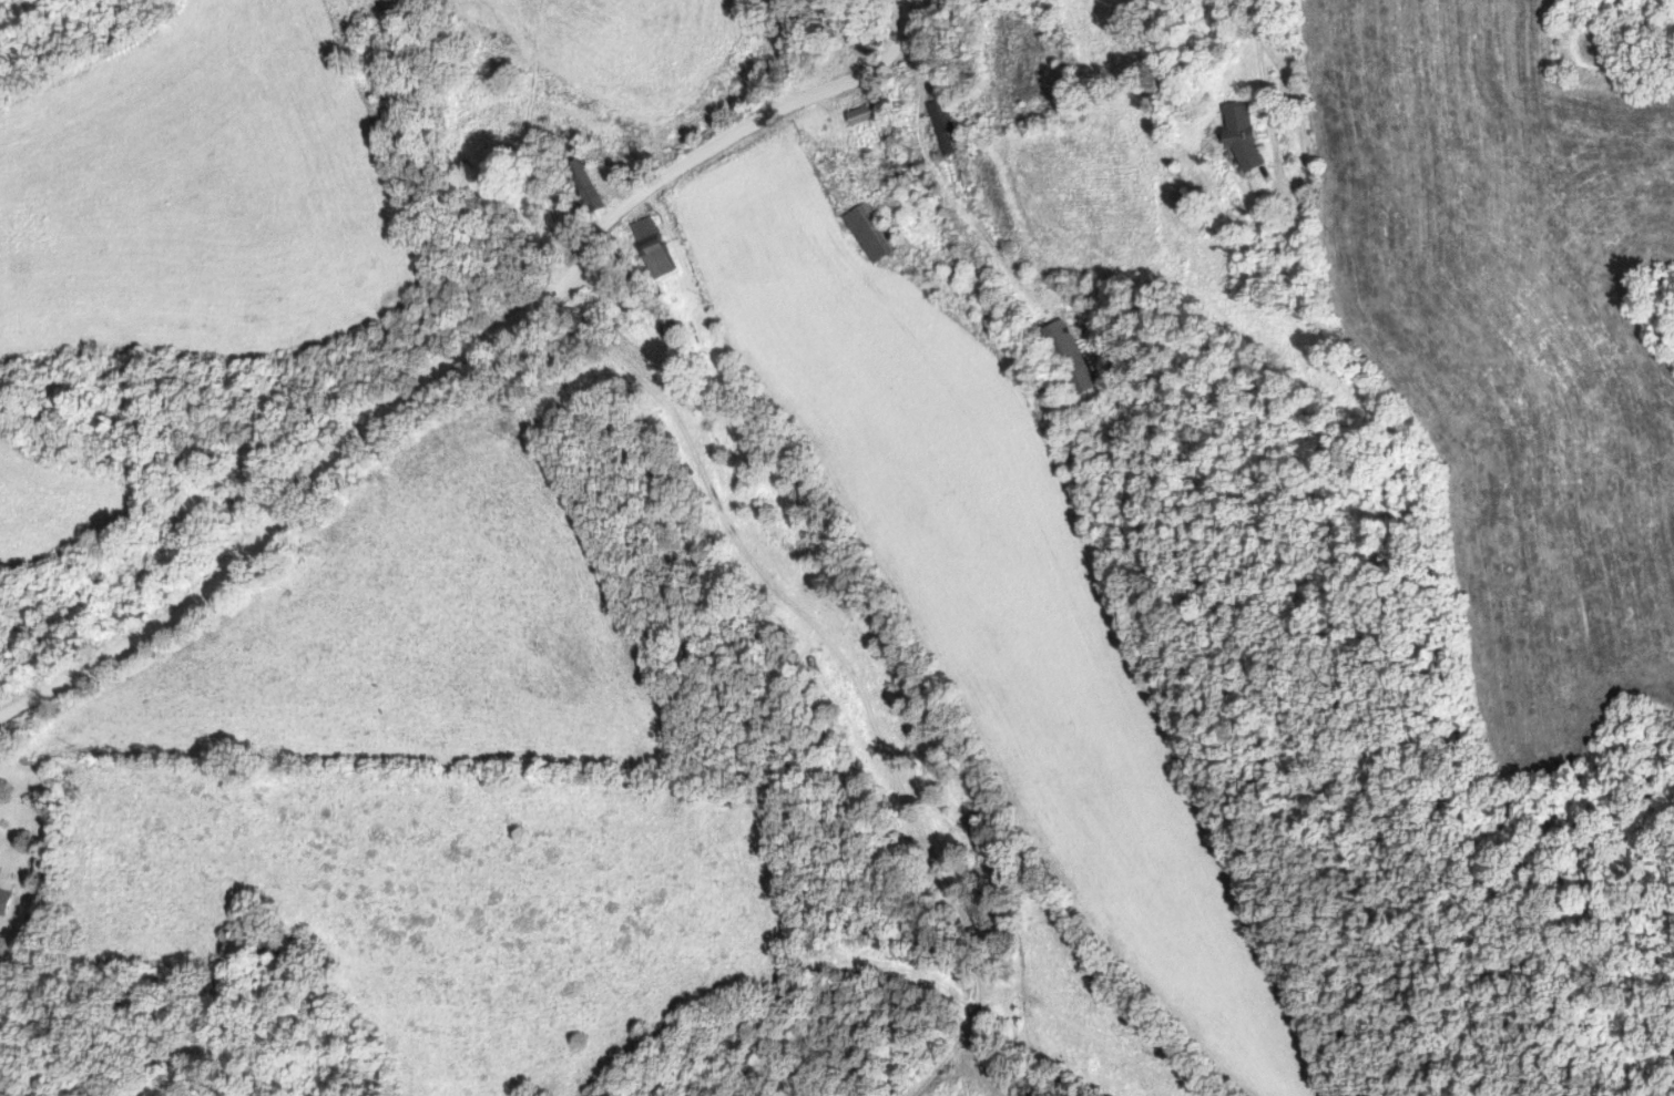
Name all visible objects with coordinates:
road: (1256, 20)
building: (1247, 135)
road: (1282, 161)
road: (939, 185)
building: (660, 246)
road: (458, 351)
building: (1069, 356)

